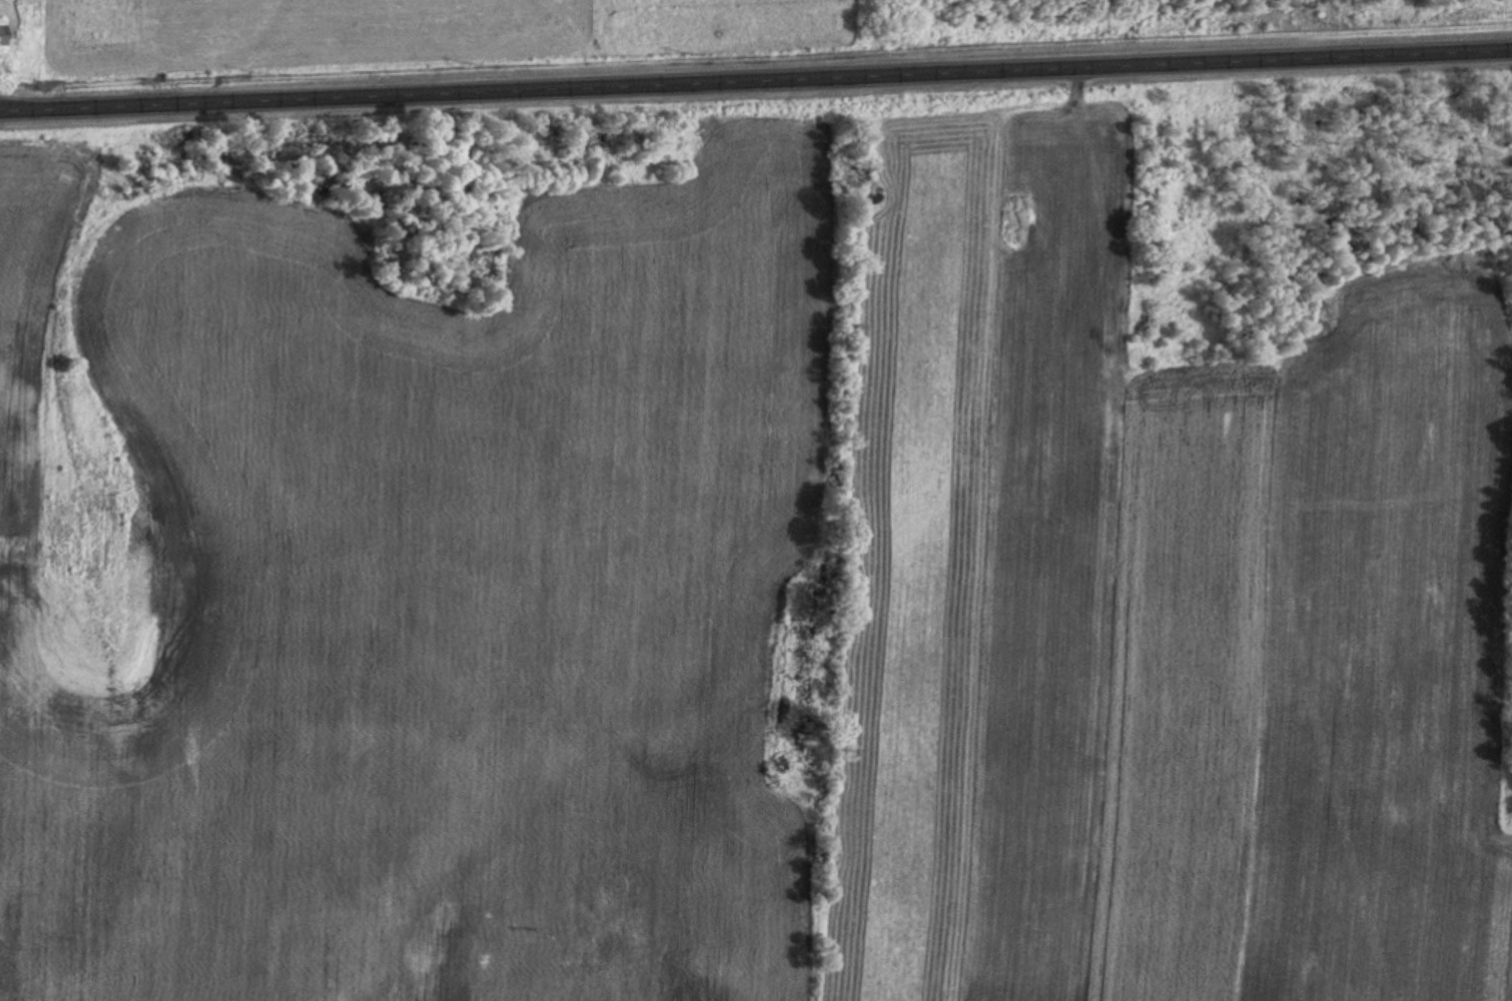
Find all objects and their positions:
building: (1, 33)
road: (755, 76)

